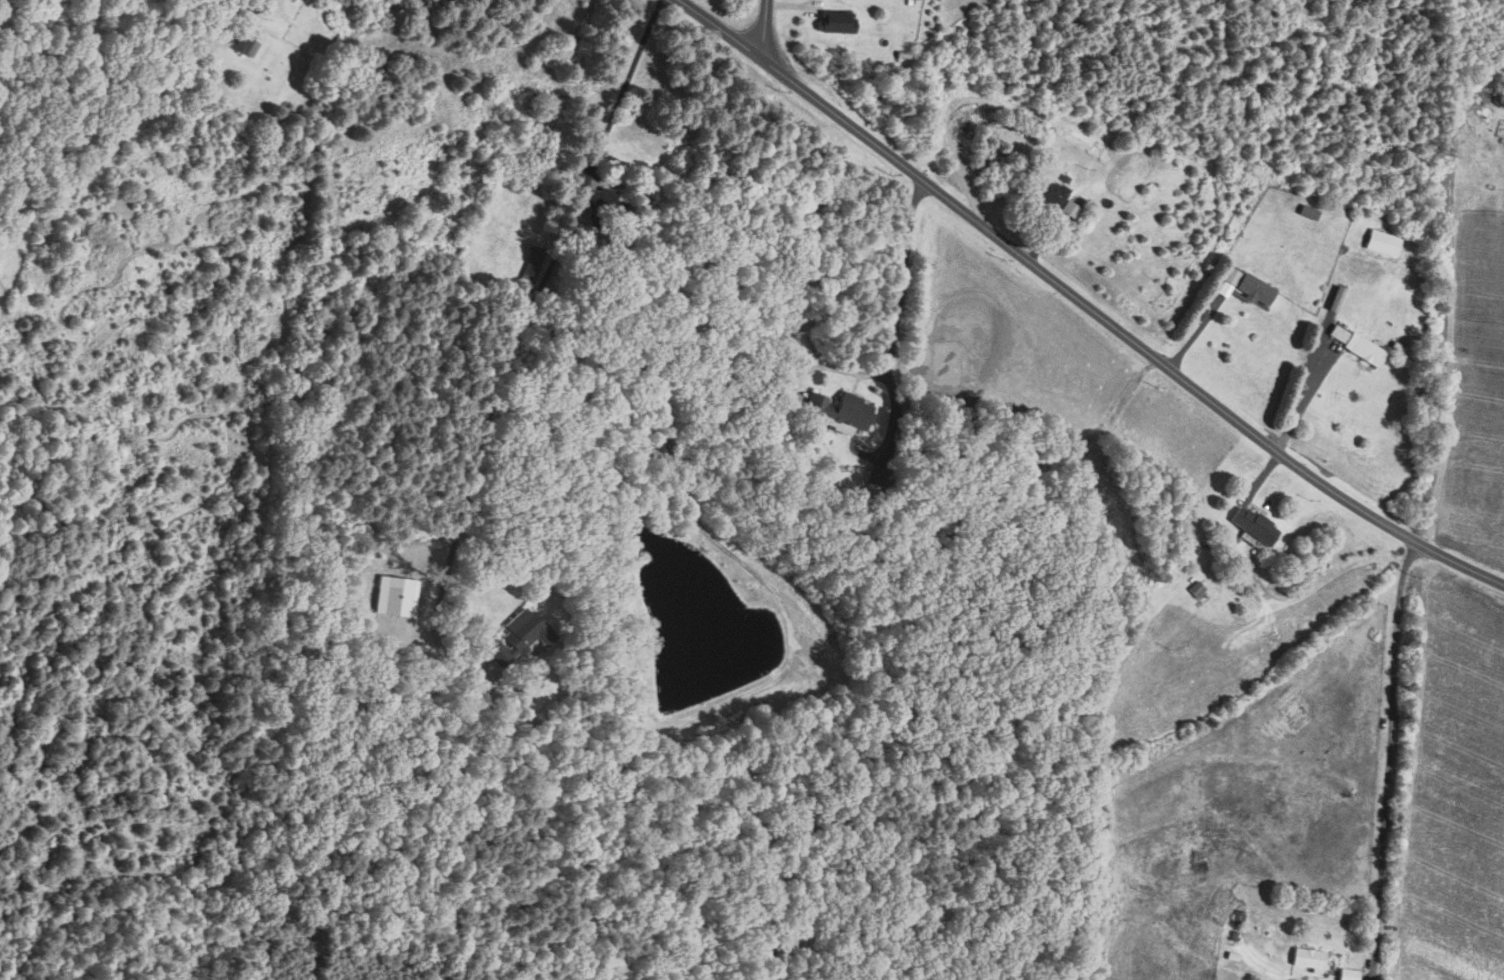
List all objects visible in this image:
building: (837, 21)
road: (766, 27)
building: (242, 39)
building: (1051, 194)
building: (606, 203)
building: (1309, 212)
building: (532, 266)
building: (1250, 285)
road: (1085, 303)
road: (1199, 329)
road: (891, 341)
road: (515, 343)
building: (1368, 351)
road: (829, 366)
road: (1306, 399)
building: (844, 406)
road: (664, 427)
building: (877, 475)
building: (1254, 525)
building: (521, 634)
road: (1390, 759)
building: (1239, 918)
building: (1308, 958)
building: (1349, 974)

